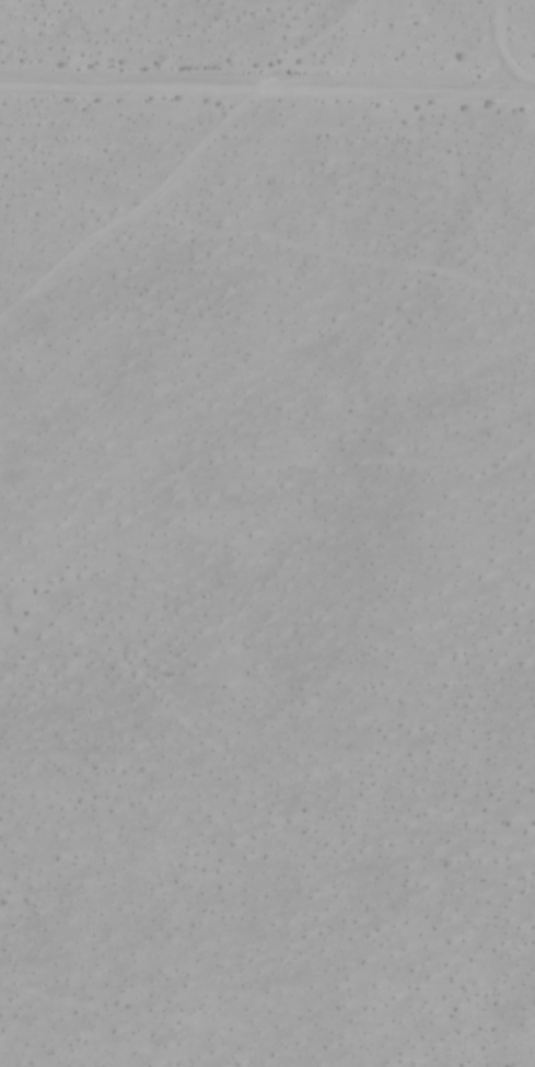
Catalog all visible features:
road: (504, 40)
road: (267, 80)

